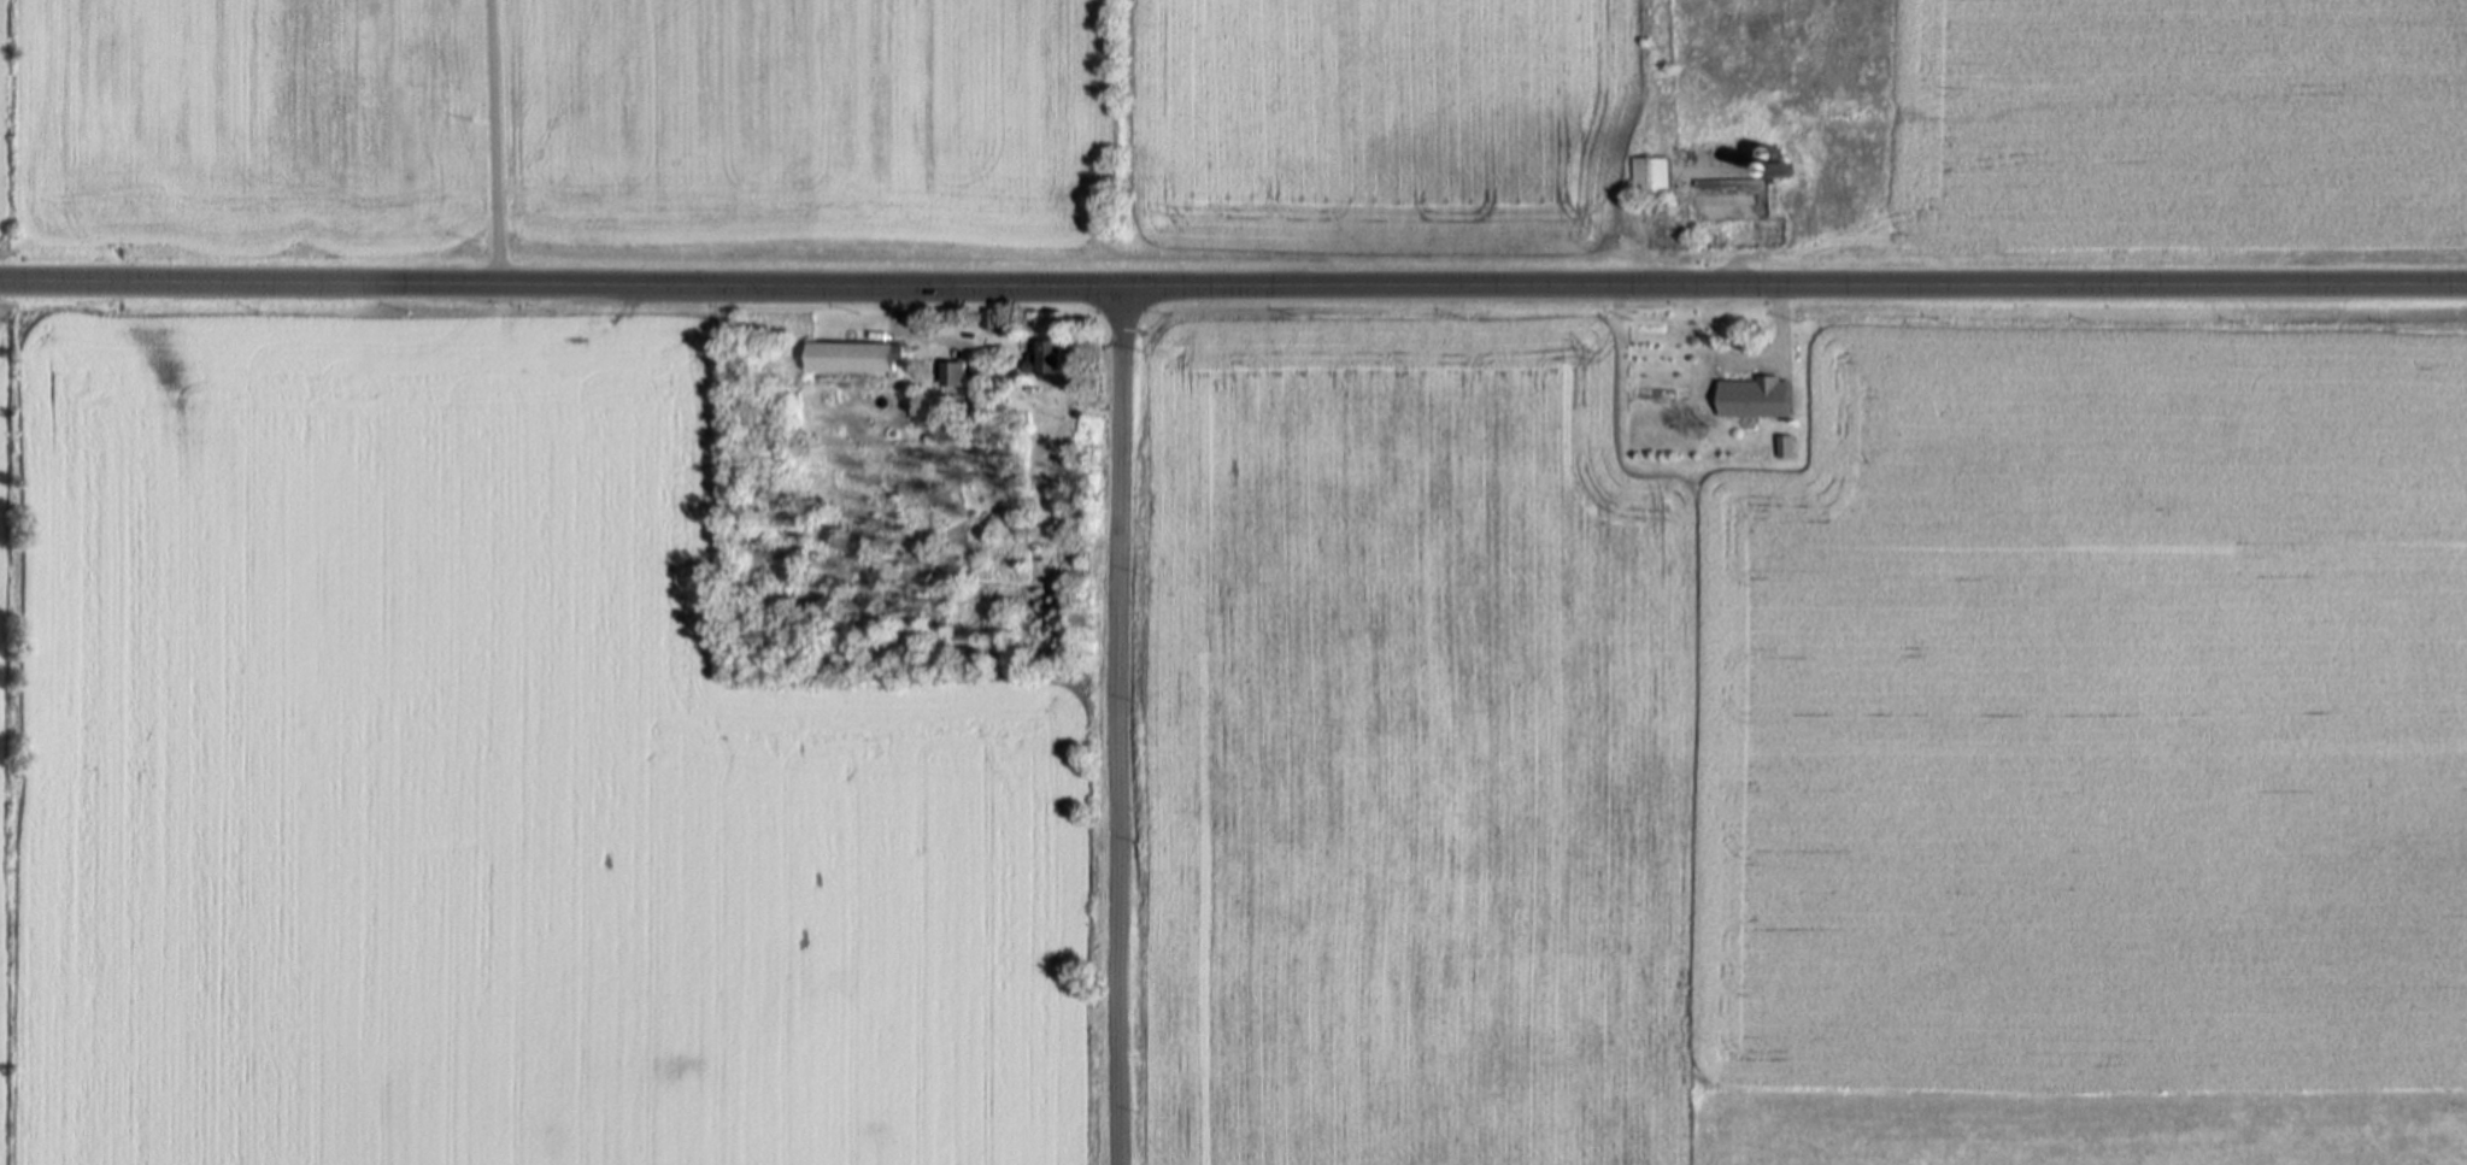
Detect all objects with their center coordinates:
road: (494, 141)
building: (1651, 176)
road: (1233, 288)
building: (991, 318)
road: (922, 334)
road: (1779, 345)
building: (853, 357)
building: (1046, 357)
building: (975, 370)
building: (952, 372)
building: (1752, 396)
building: (957, 401)
building: (1784, 447)
road: (1120, 728)

